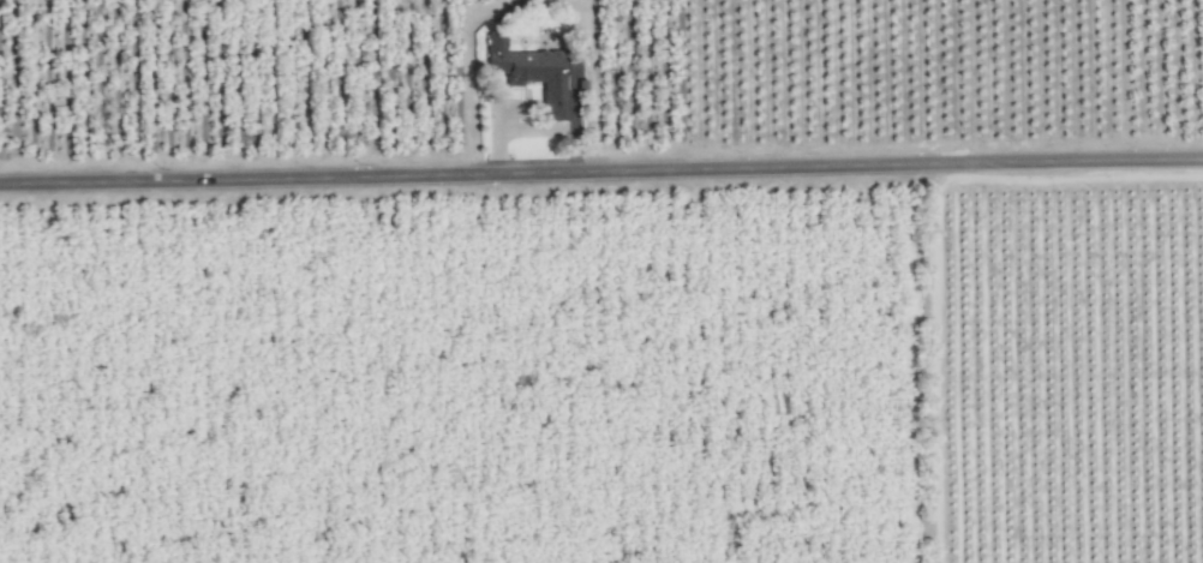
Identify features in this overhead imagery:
building: (532, 71)
road: (600, 174)

